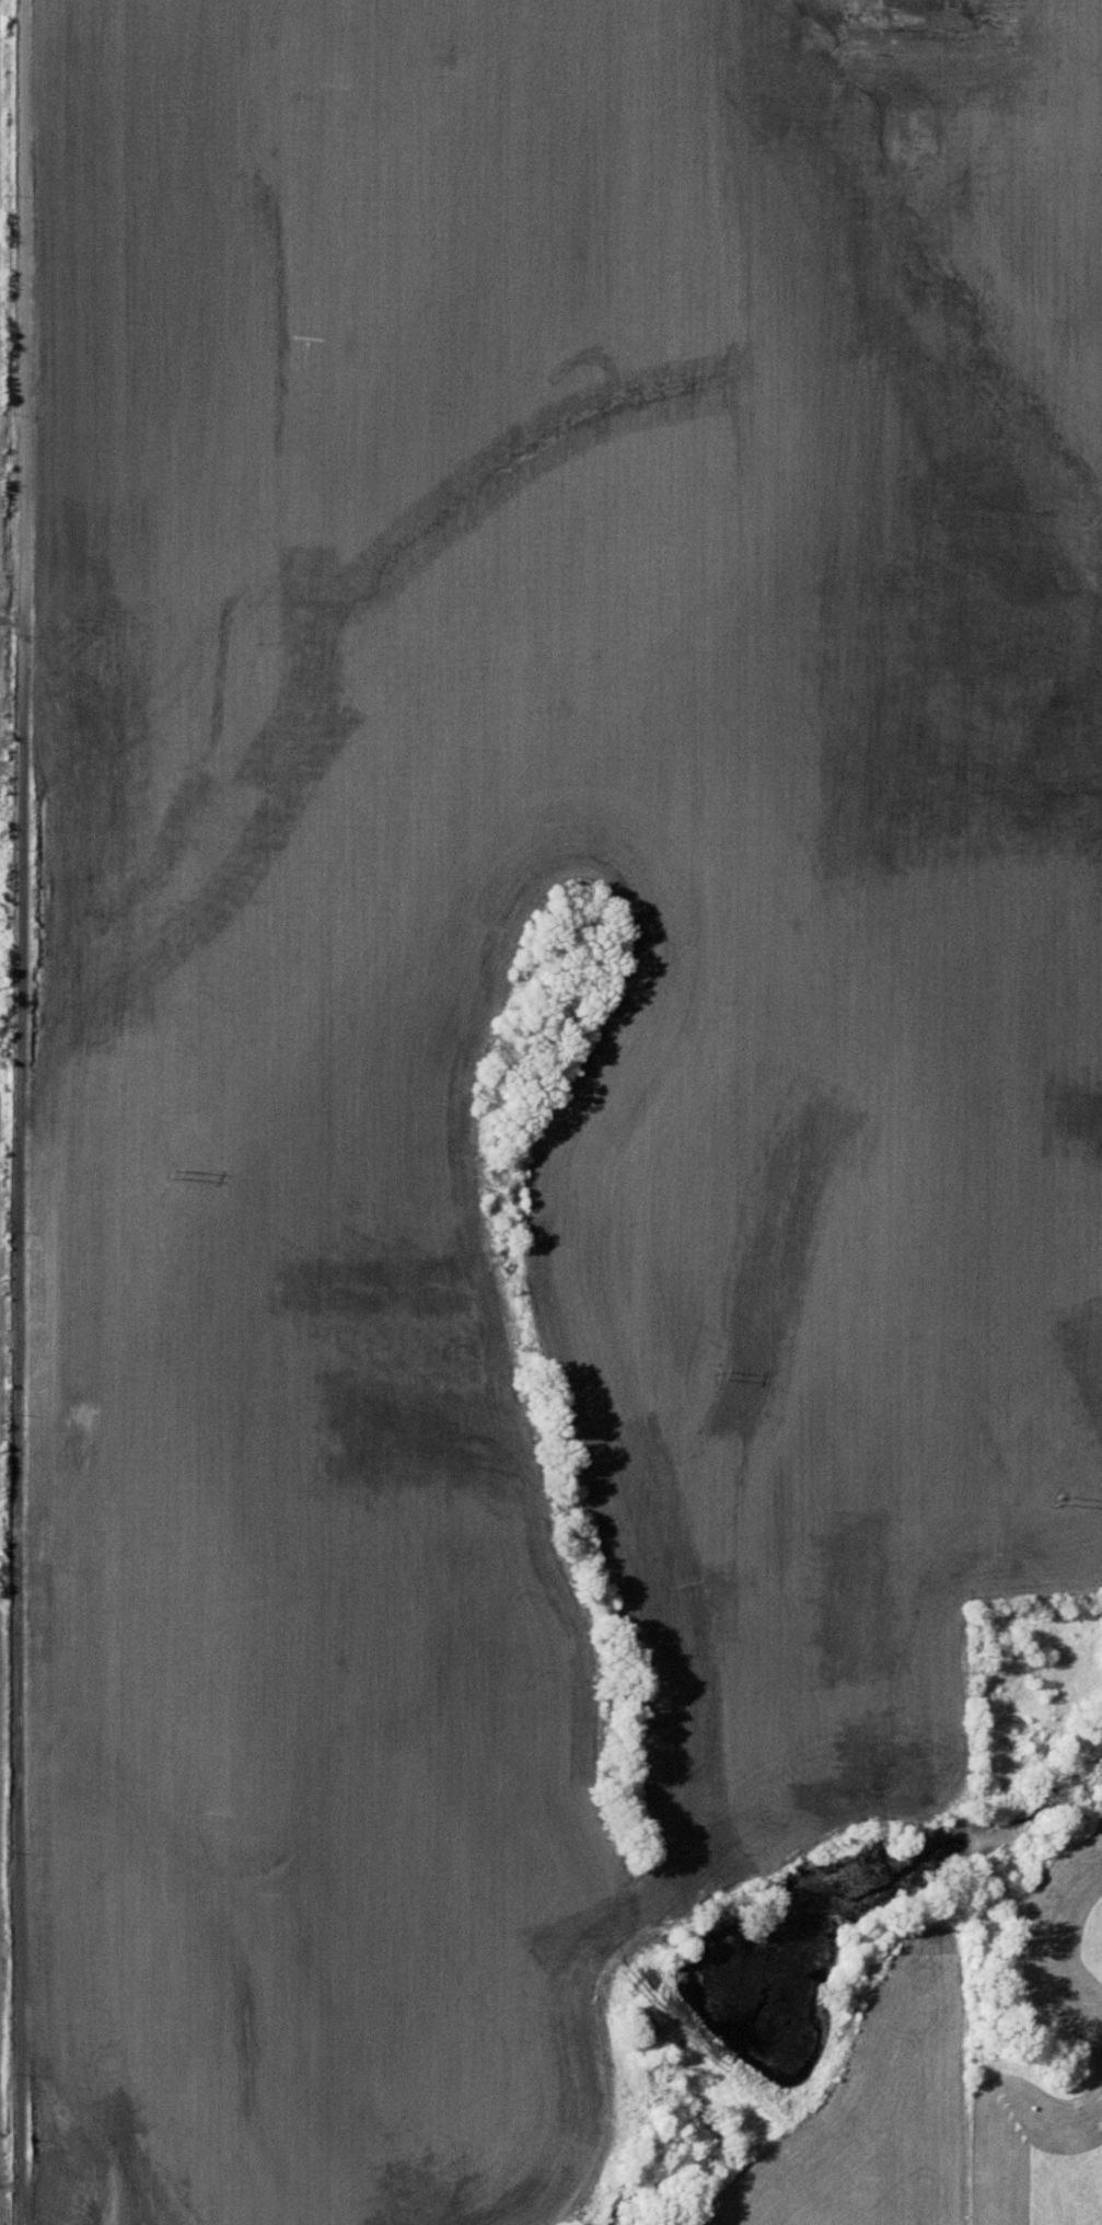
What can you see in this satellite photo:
road: (22, 1111)

